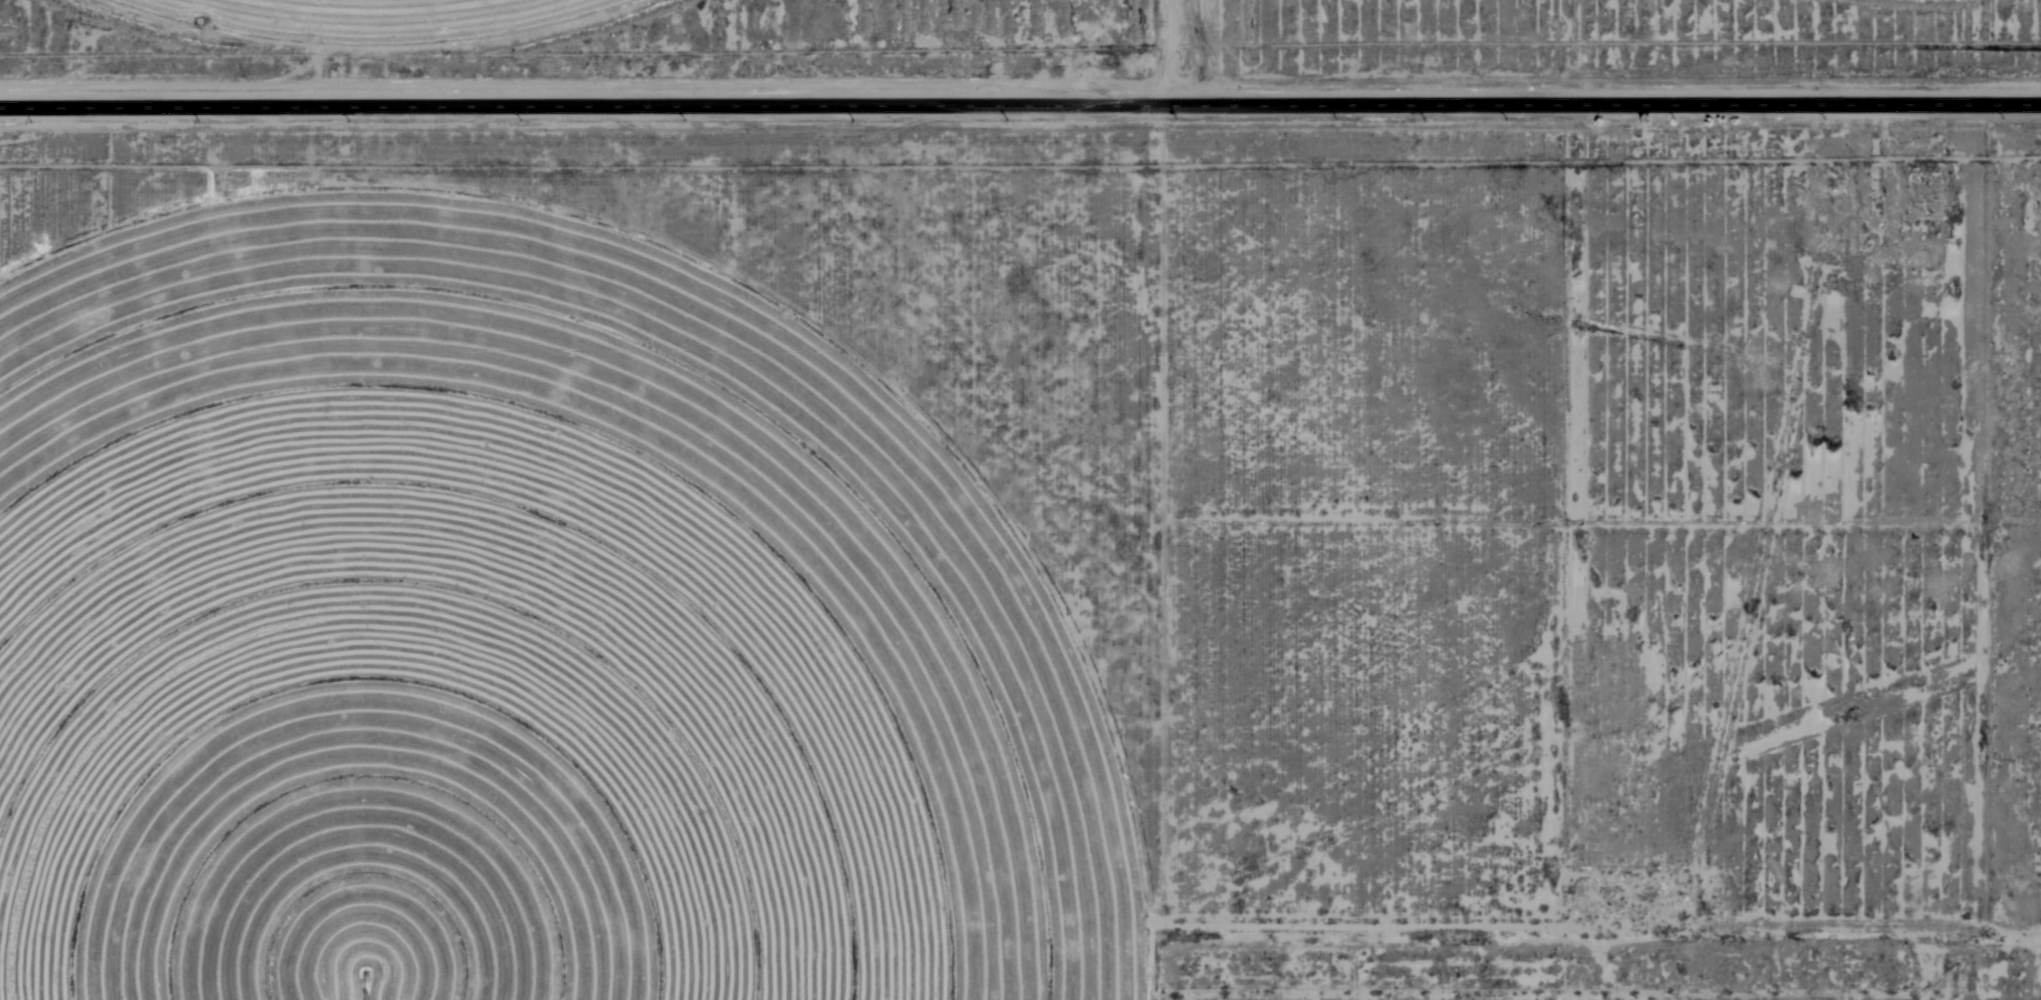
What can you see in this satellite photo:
crop: (361, 21)
road: (1020, 117)
road: (1109, 500)
road: (1977, 528)
road: (1913, 537)
crop: (511, 641)
road: (1575, 981)
road: (1812, 988)

